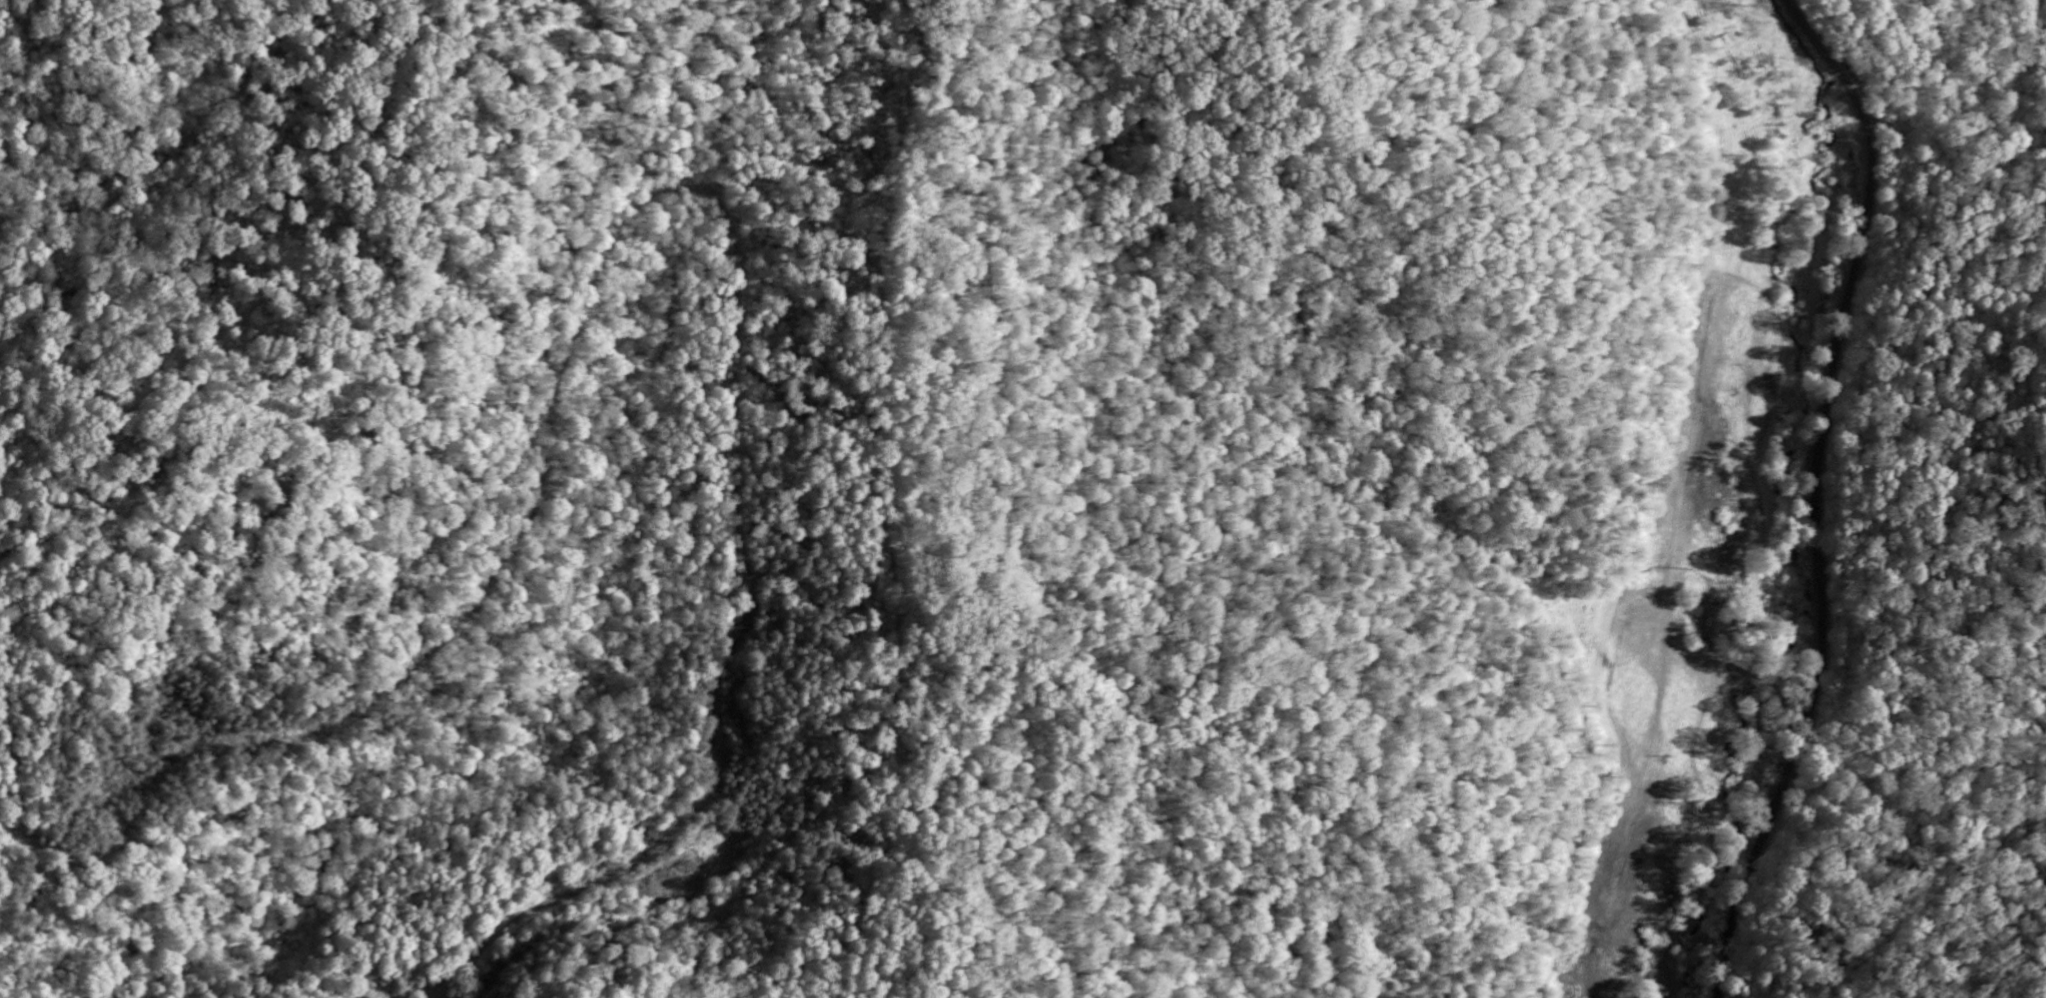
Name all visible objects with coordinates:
road: (1814, 492)

